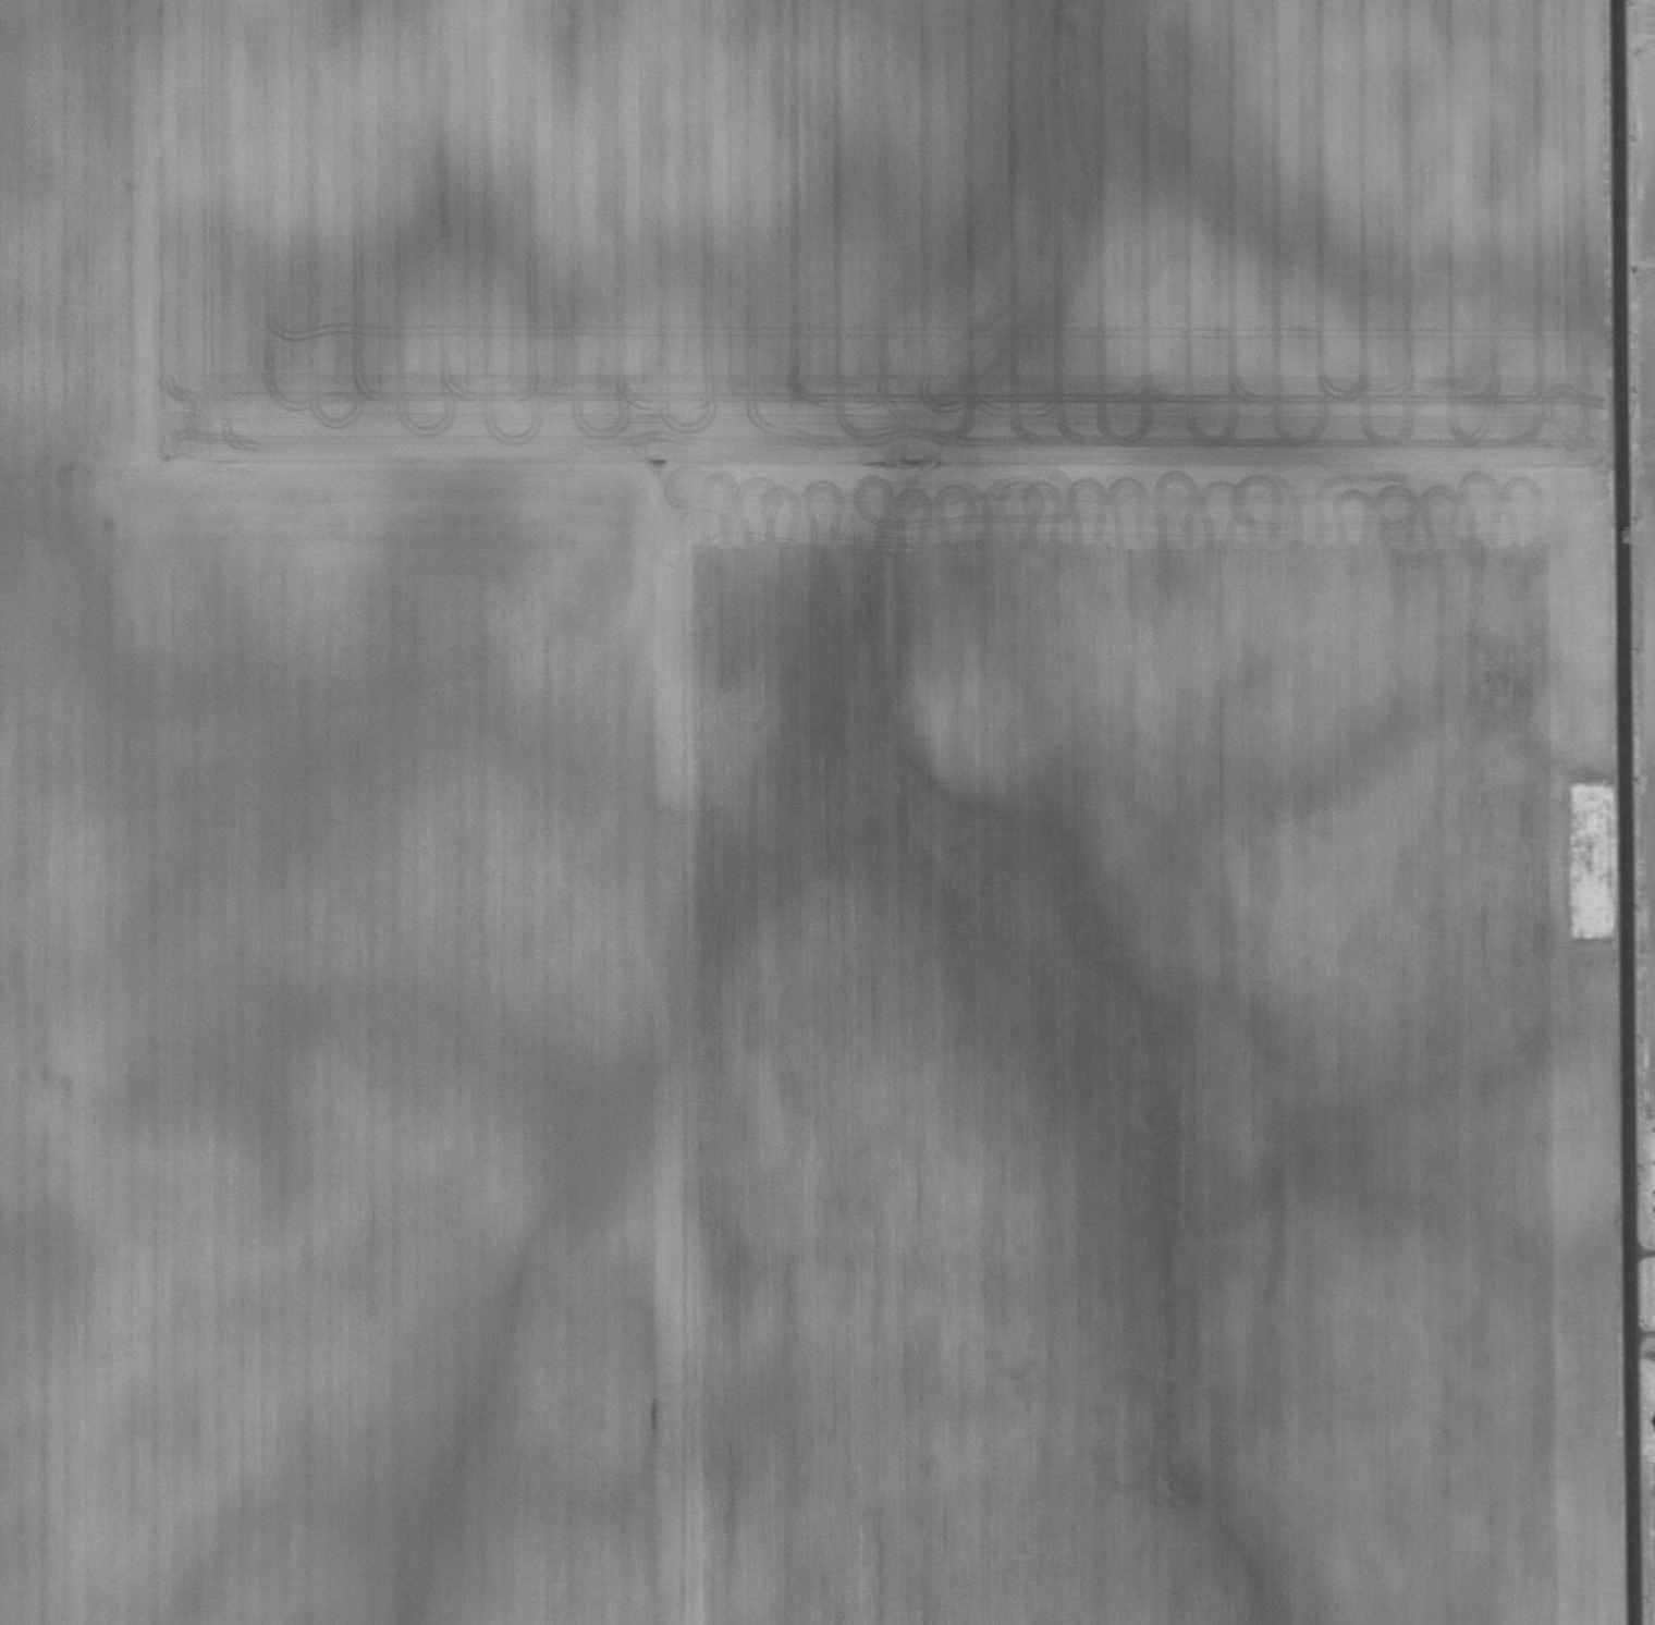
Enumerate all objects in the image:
road: (1627, 812)

